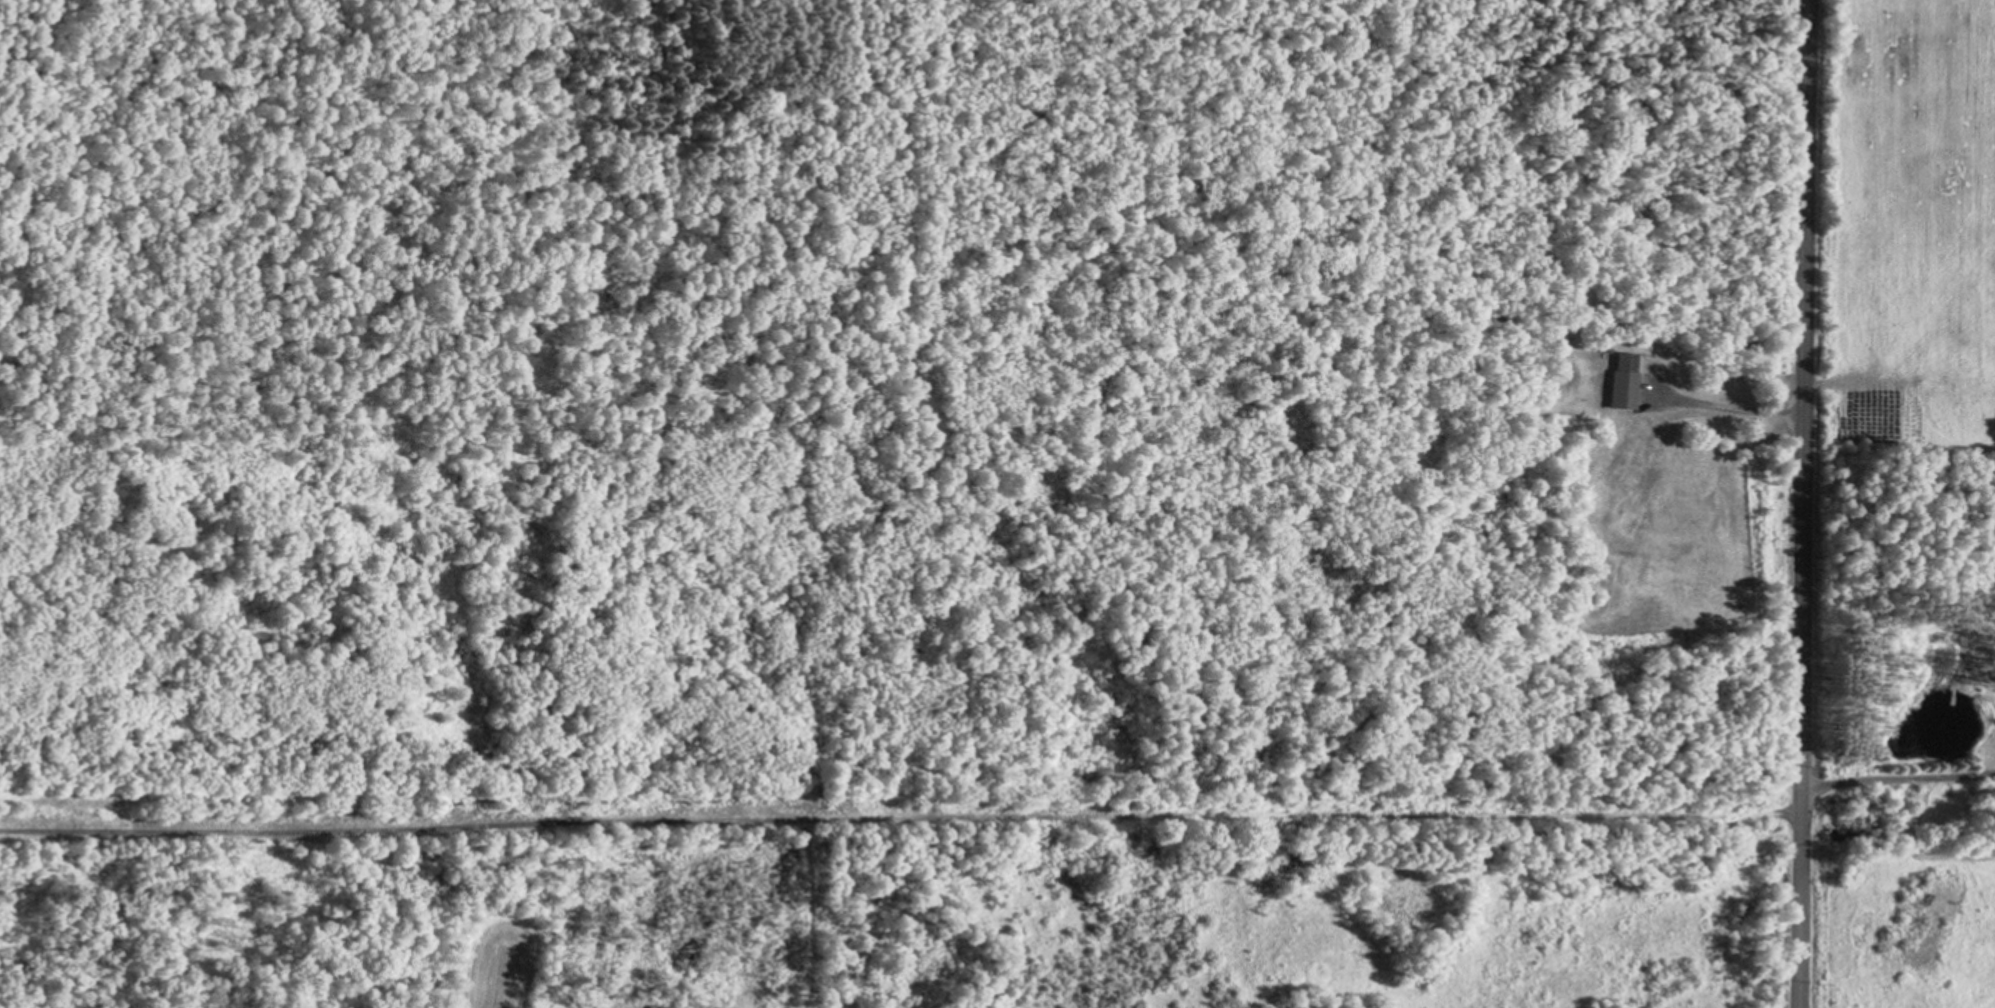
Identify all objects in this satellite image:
crop: (1904, 222)
building: (1558, 374)
building: (1623, 379)
road: (1802, 504)
crop: (1900, 929)

